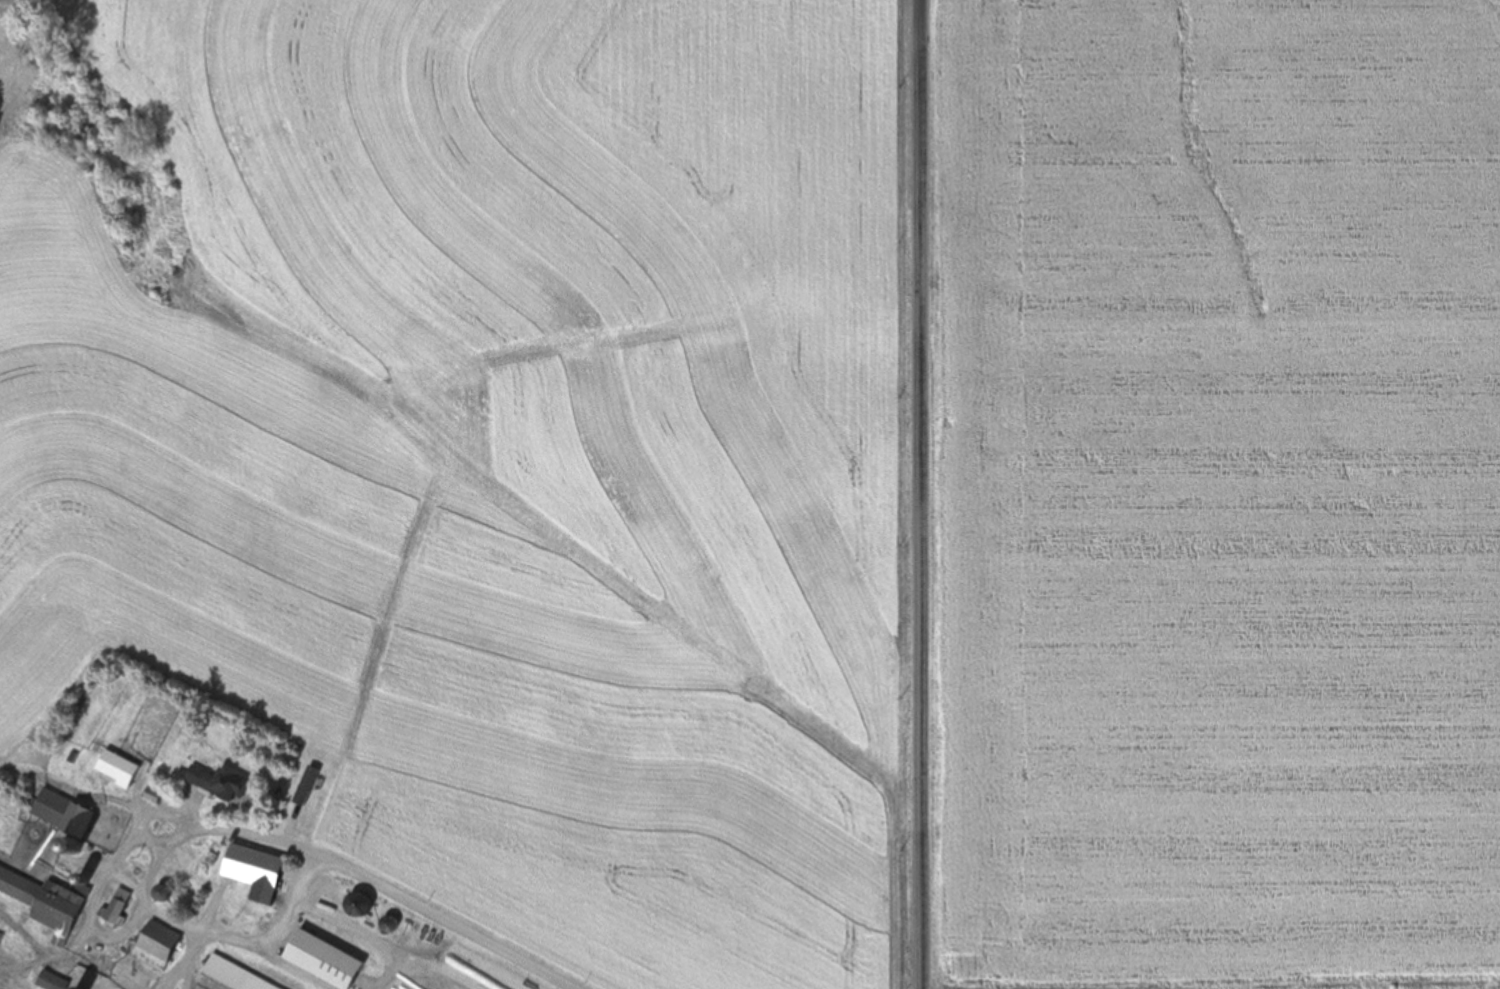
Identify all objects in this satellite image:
road: (922, 494)
building: (131, 763)
road: (1211, 763)
building: (214, 782)
building: (62, 813)
building: (251, 867)
road: (352, 874)
building: (45, 903)
building: (354, 905)
building: (116, 909)
building: (155, 946)
building: (93, 956)
building: (320, 960)
building: (232, 975)

